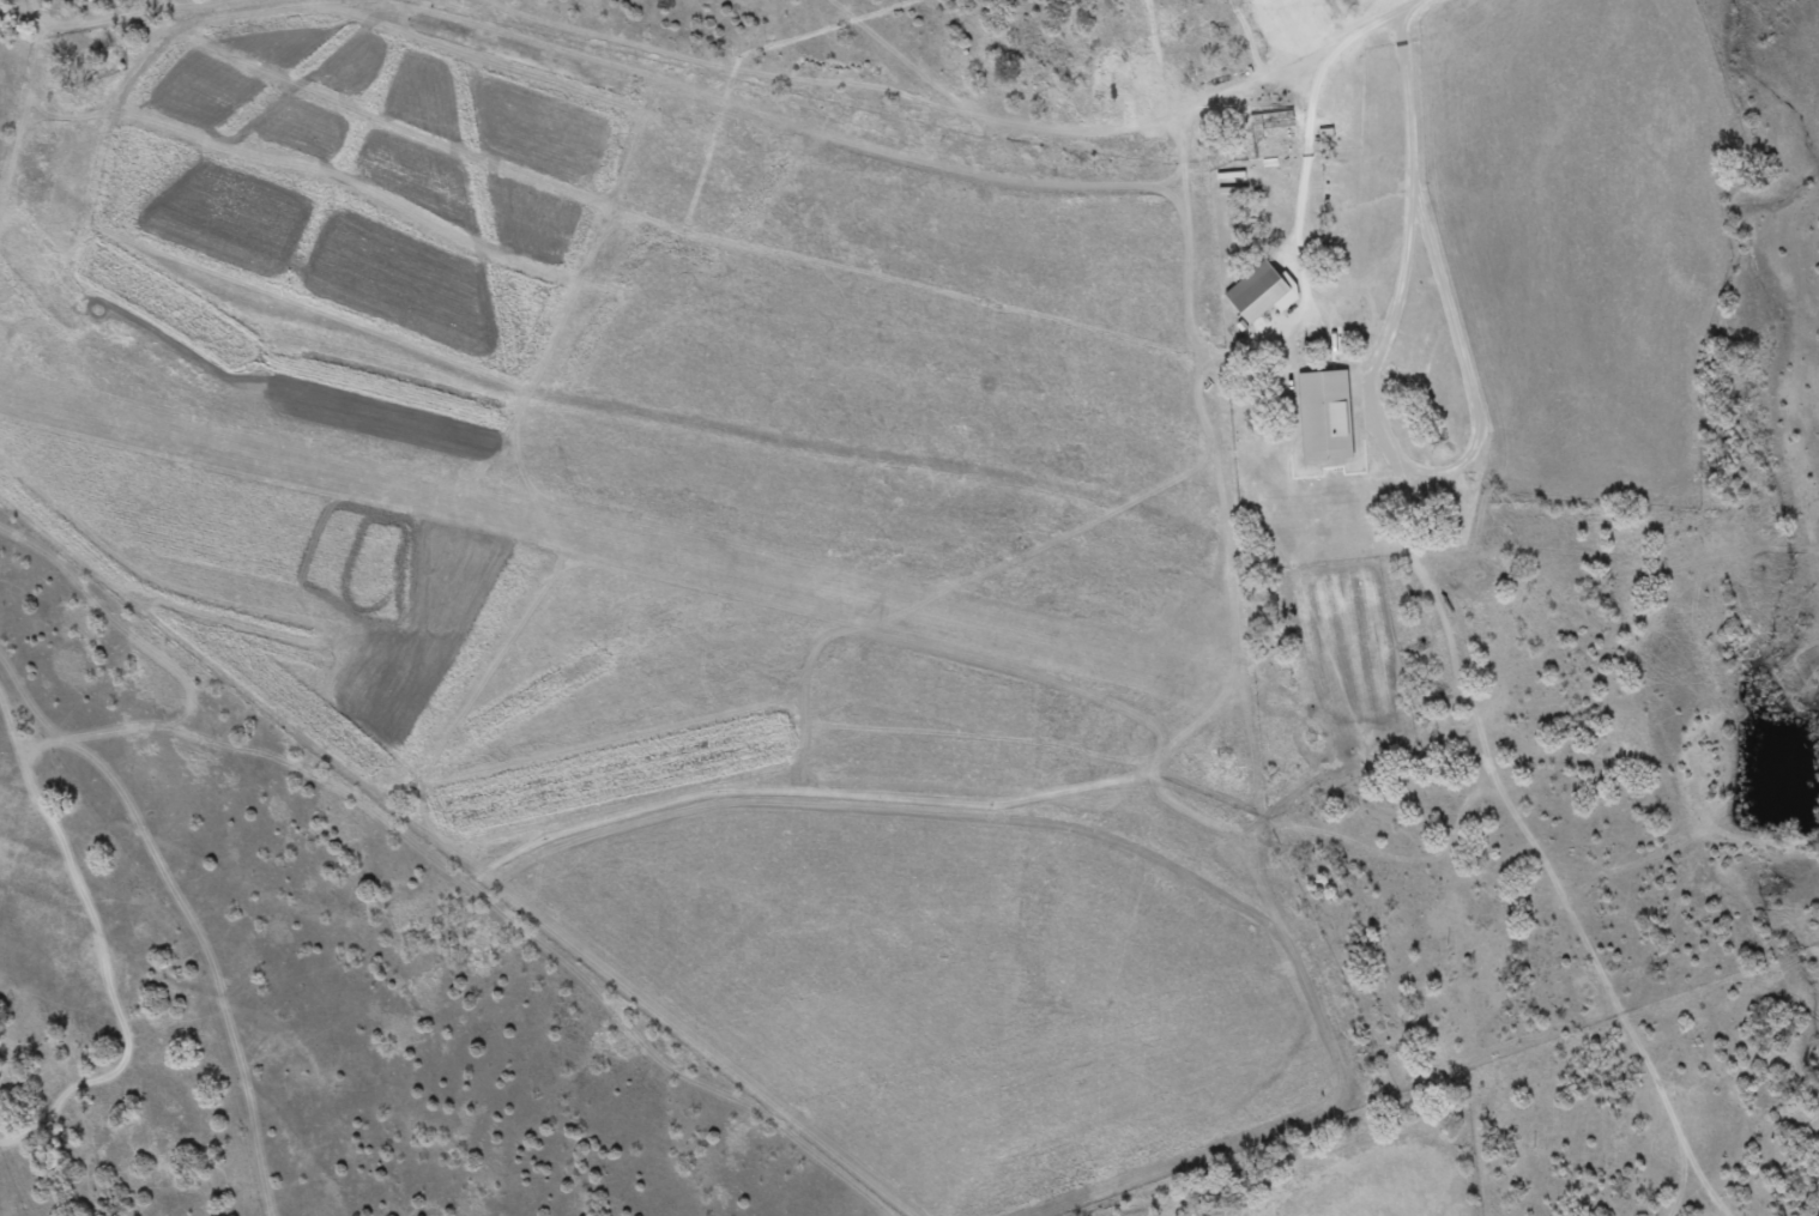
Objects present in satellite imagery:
building: (1268, 121)
building: (1252, 292)

